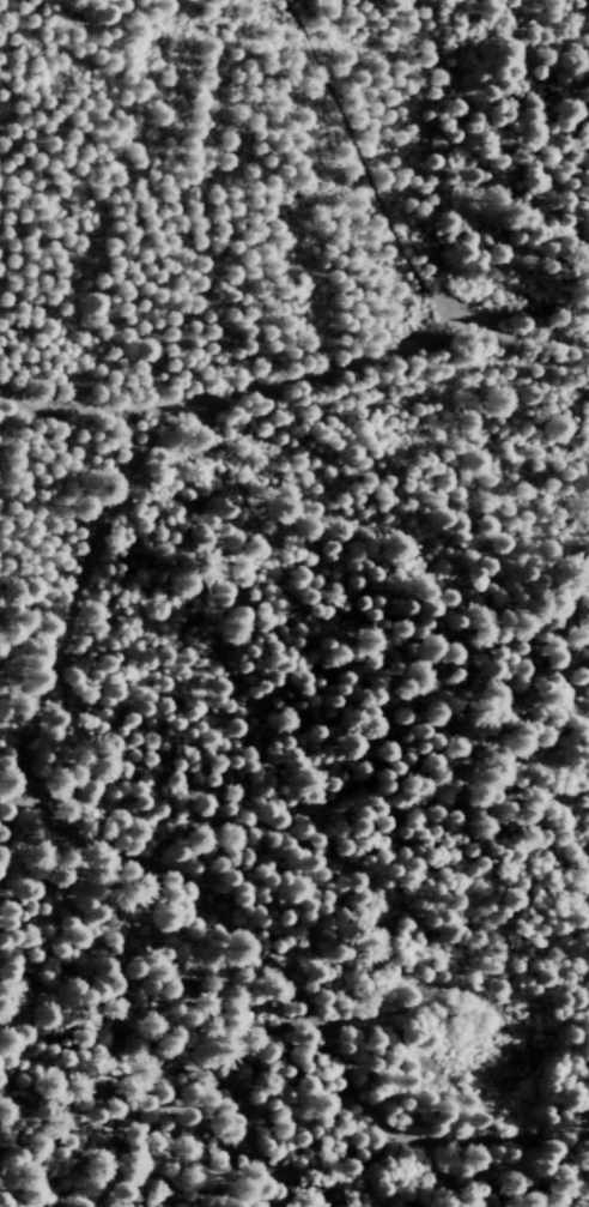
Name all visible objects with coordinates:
road: (375, 159)
road: (298, 378)
road: (57, 583)

